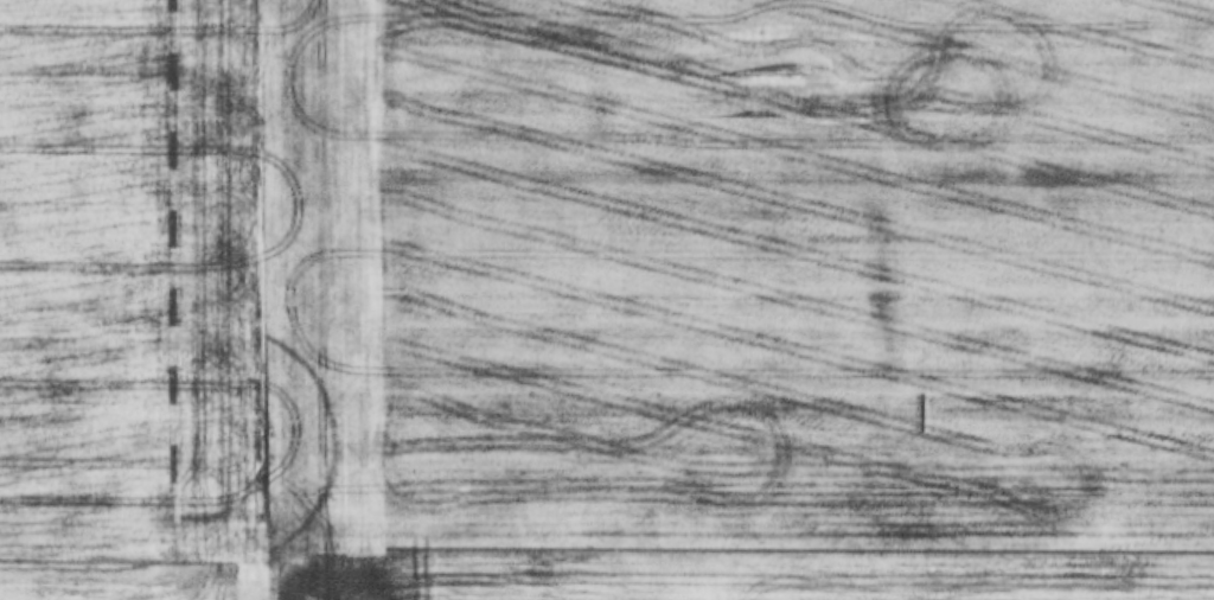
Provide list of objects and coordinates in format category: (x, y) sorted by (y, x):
power tower: (809, 72)
crop: (607, 300)

